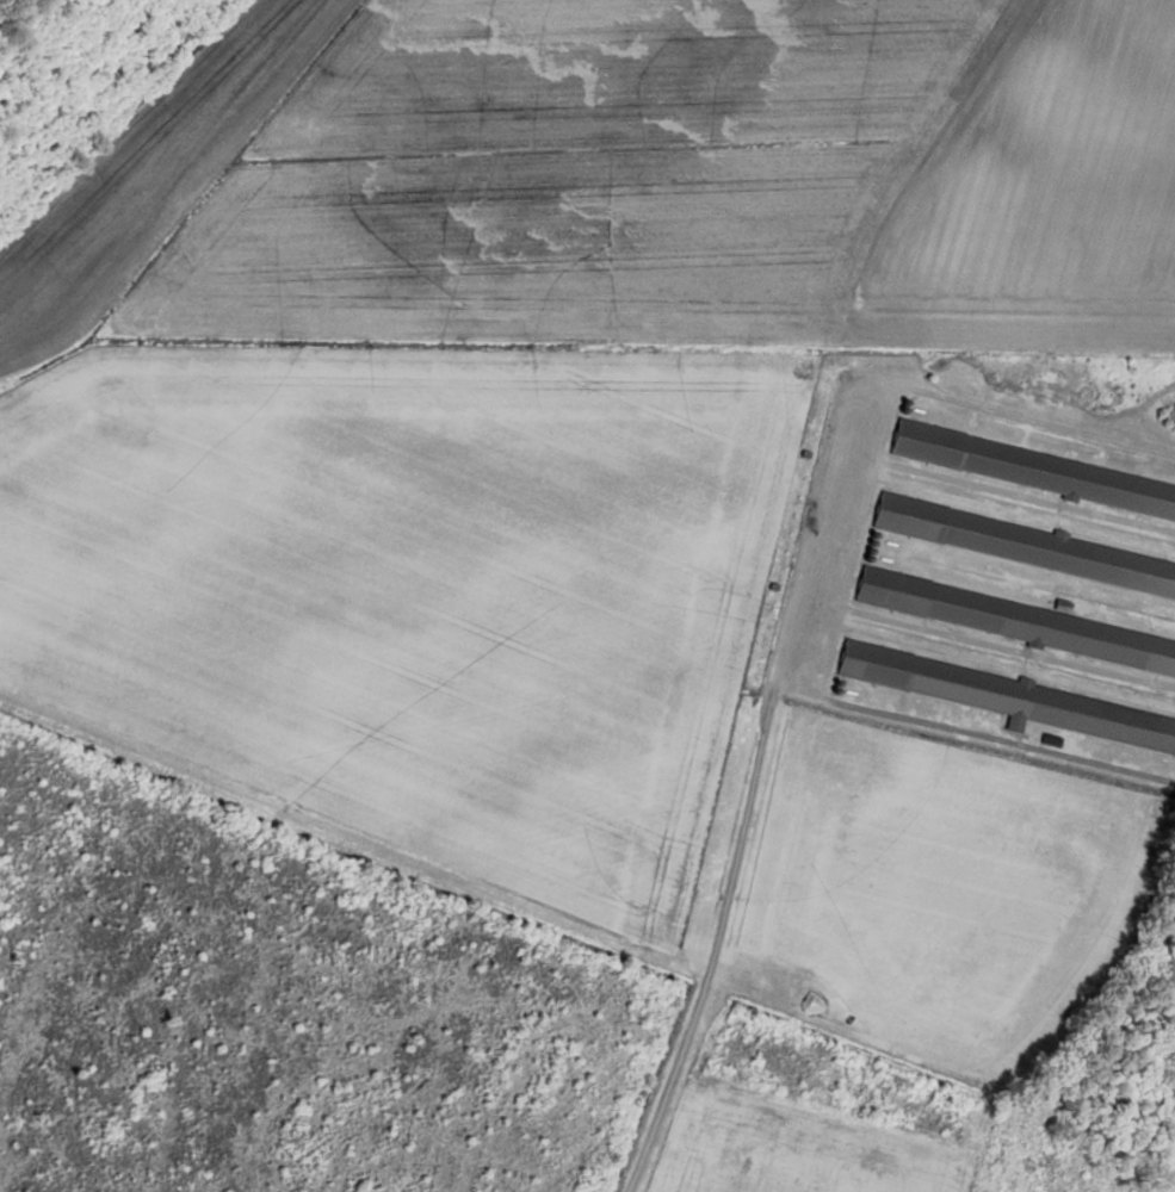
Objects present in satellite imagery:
building: (1029, 473)
building: (1014, 627)

